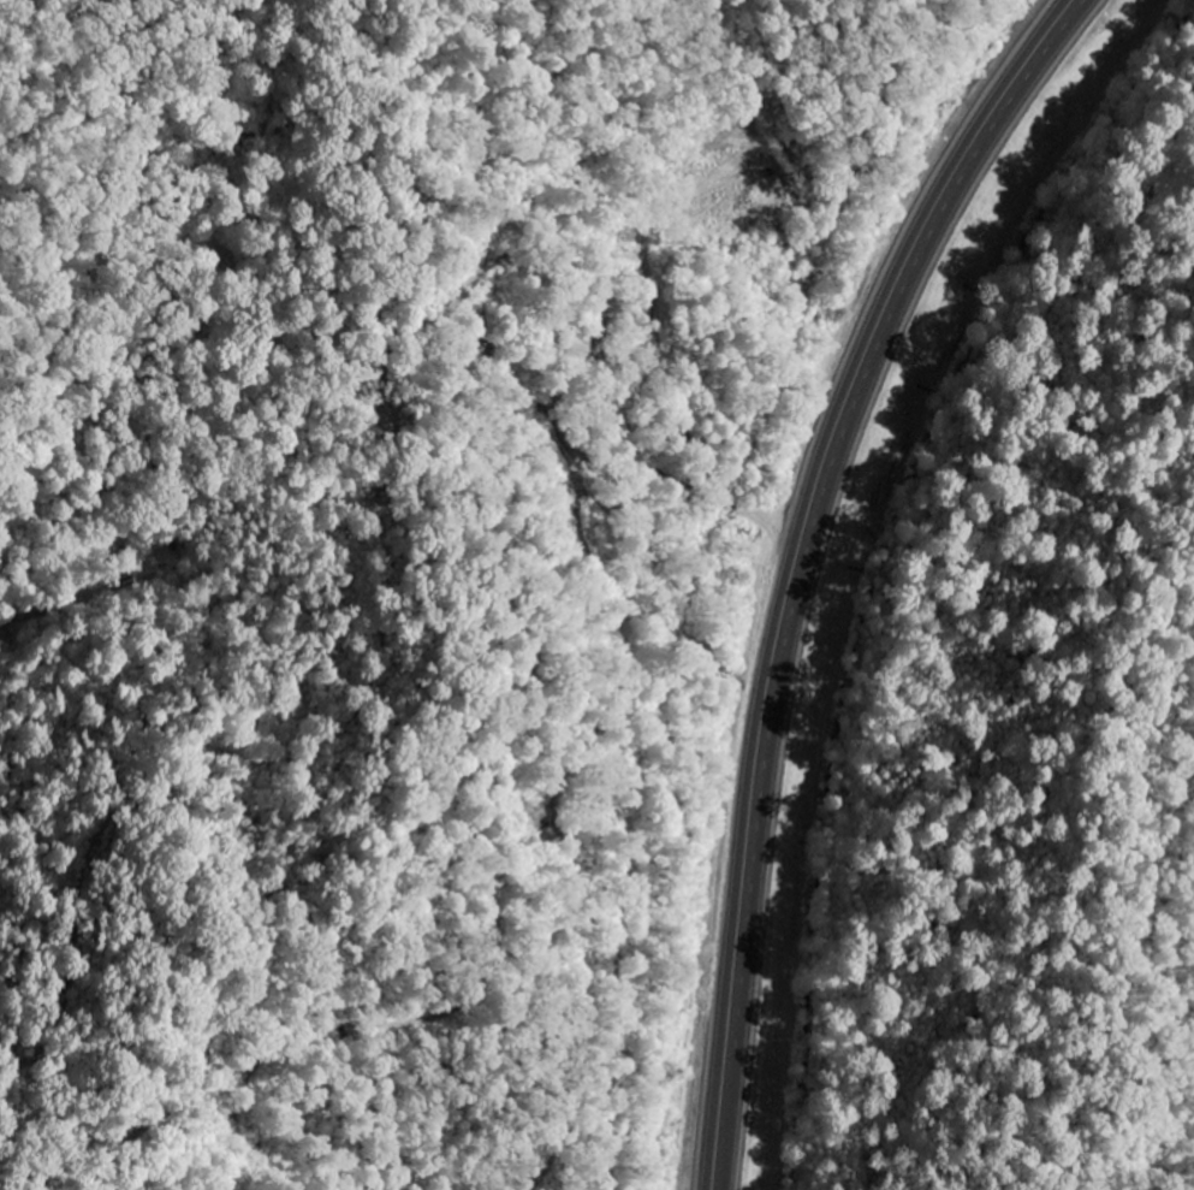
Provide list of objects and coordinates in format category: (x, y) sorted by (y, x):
road: (804, 560)
road: (485, 629)

